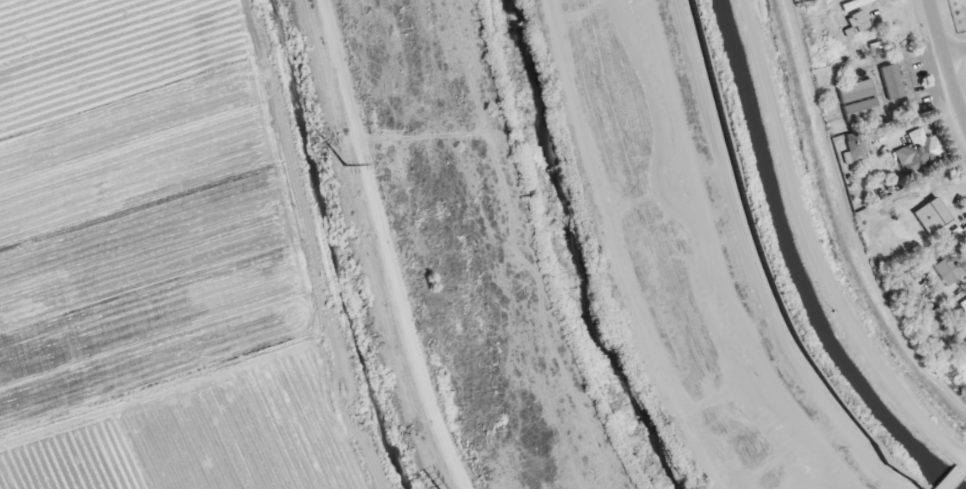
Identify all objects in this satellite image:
road: (957, 54)
road: (949, 64)
building: (919, 150)
power tower: (338, 164)
building: (929, 210)
building: (956, 237)
river: (563, 251)
road: (751, 261)
building: (951, 267)
building: (964, 304)
road: (963, 466)
road: (952, 479)

